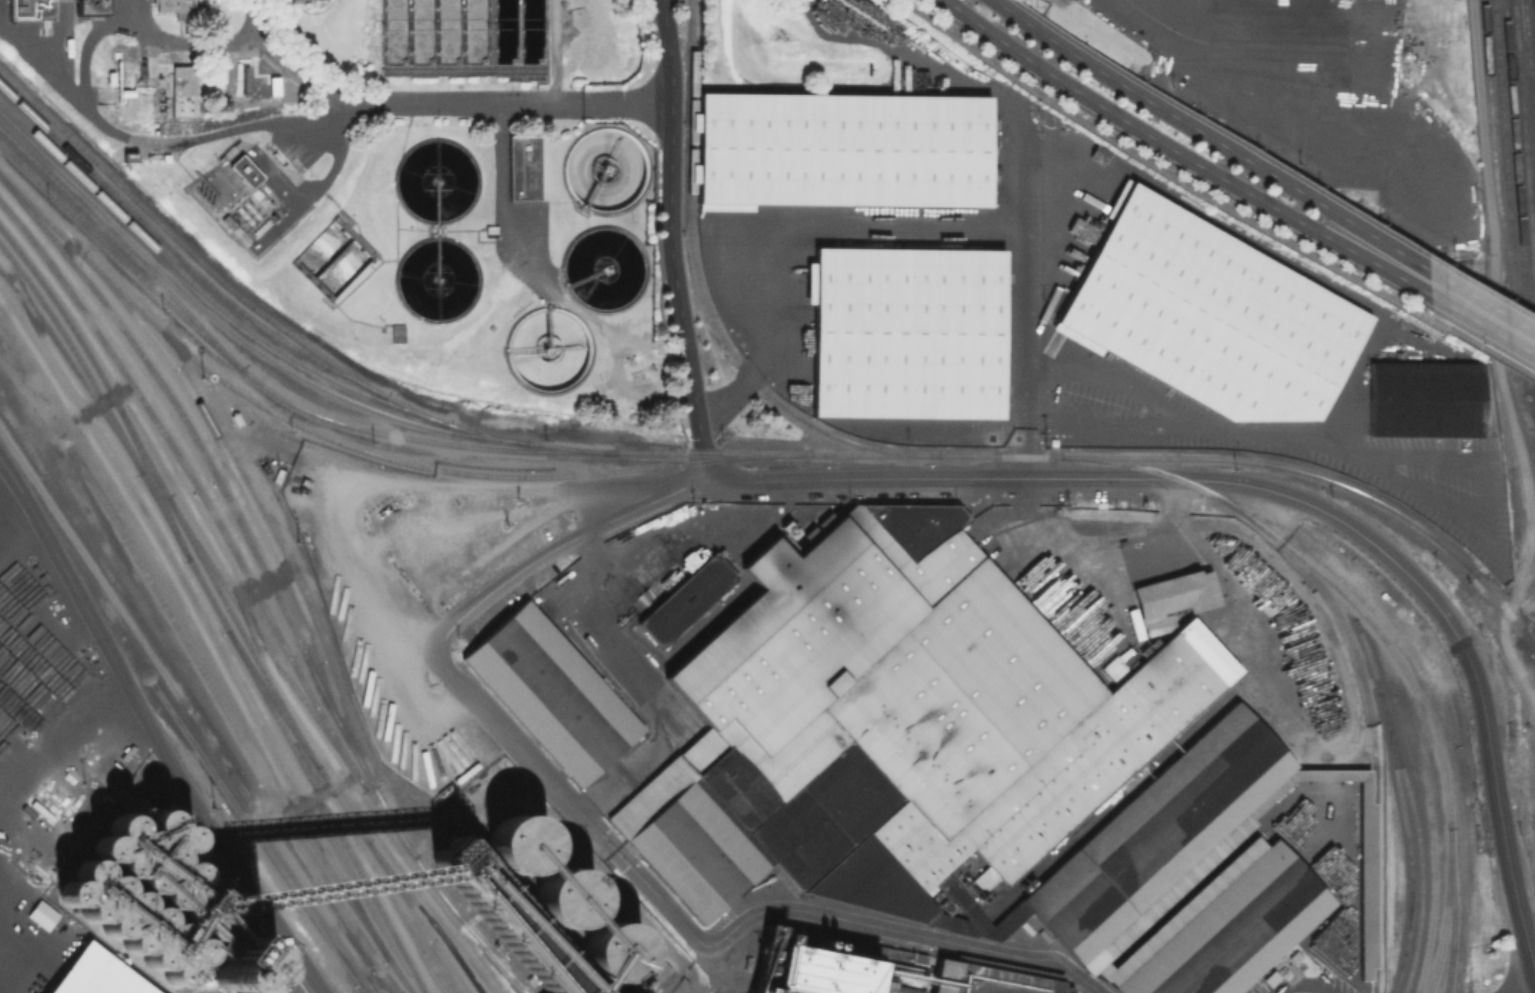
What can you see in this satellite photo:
building: (175, 5)
building: (98, 8)
building: (34, 10)
road: (1190, 16)
road: (61, 44)
road: (88, 44)
road: (188, 44)
railway: (1529, 76)
building: (185, 94)
road: (434, 106)
railway: (1524, 136)
road: (165, 141)
road: (1220, 145)
building: (842, 147)
railway: (1505, 152)
road: (1189, 158)
building: (526, 170)
wastewater plant: (403, 174)
railway: (1517, 188)
railway: (1497, 193)
road: (669, 241)
railway: (181, 258)
railway: (201, 289)
railway: (704, 295)
building: (1210, 313)
railway: (180, 314)
road: (1490, 316)
railway: (272, 319)
railway: (233, 328)
building: (907, 330)
railway: (216, 332)
railway: (69, 364)
building: (1425, 396)
railway: (262, 397)
railway: (352, 446)
railway: (1335, 479)
road: (946, 480)
railway: (220, 487)
road: (782, 491)
railway: (1203, 492)
road: (1169, 501)
road: (1020, 503)
railway: (252, 506)
road: (429, 516)
road: (689, 534)
railway: (73, 539)
road: (557, 547)
road: (587, 547)
road: (1103, 561)
railway: (201, 584)
railway: (186, 591)
building: (679, 600)
railway: (260, 601)
railway: (230, 613)
railway: (252, 623)
road: (1460, 648)
railway: (207, 682)
building: (547, 694)
road: (647, 700)
road: (152, 727)
road: (514, 746)
building: (939, 749)
railway: (1373, 765)
railway: (1411, 804)
railway: (263, 821)
railway: (255, 836)
railway: (1408, 855)
building: (123, 876)
building: (41, 914)
railway: (1443, 914)
road: (831, 915)
building: (1223, 927)
railway: (438, 930)
building: (249, 946)
railway: (381, 950)
railway: (407, 962)
railway: (1449, 963)
railway: (435, 970)
building: (85, 975)
building: (977, 981)
railway: (376, 984)
road: (1529, 989)

